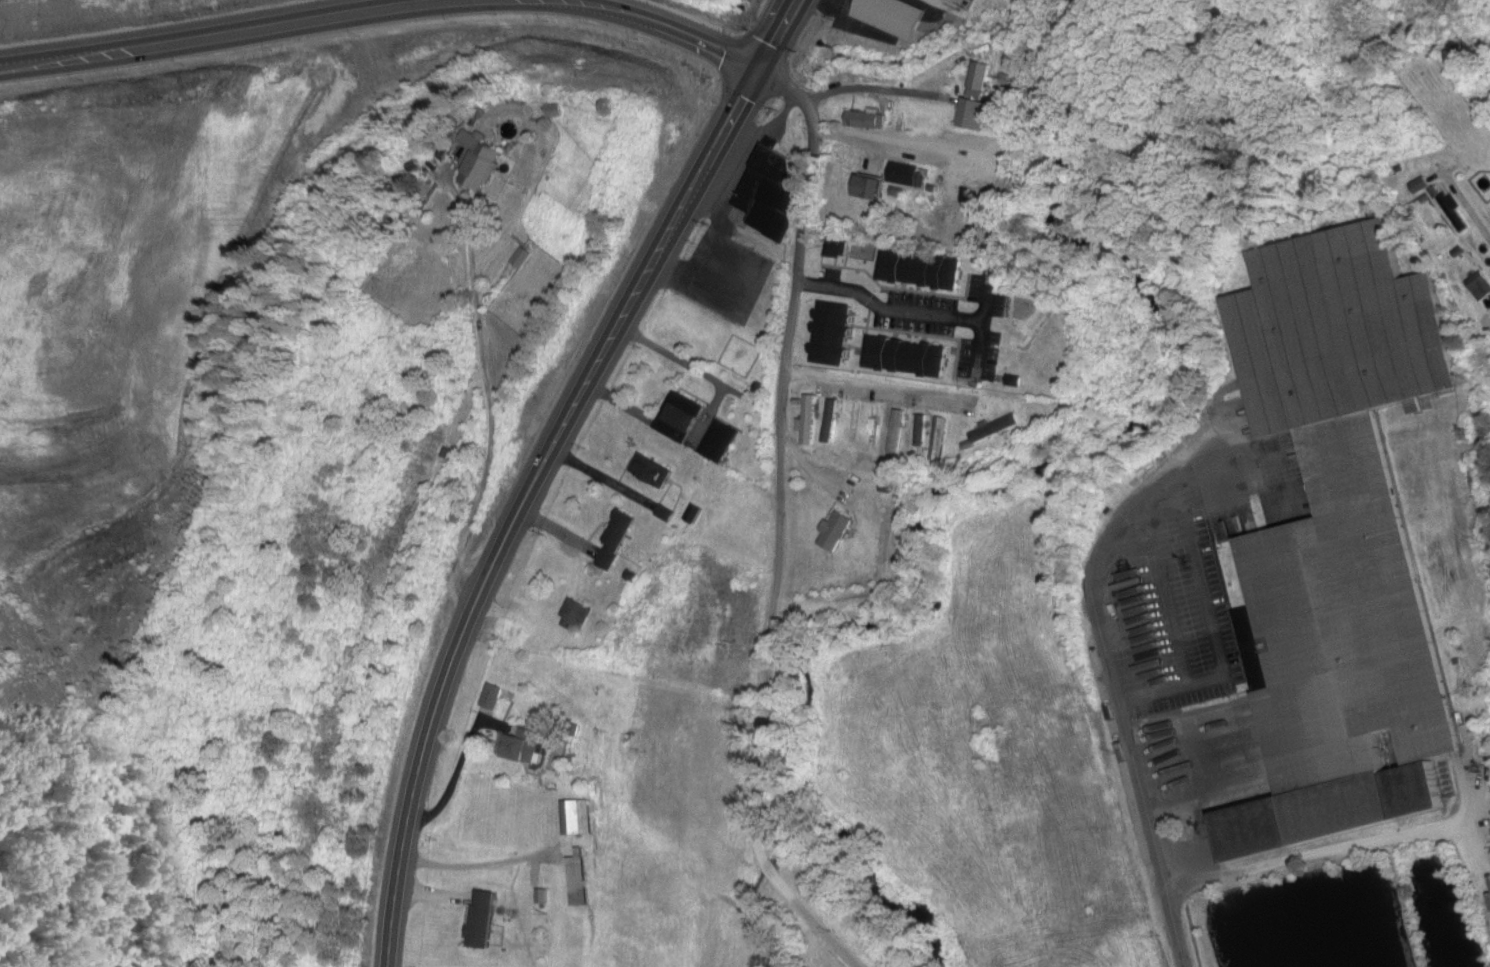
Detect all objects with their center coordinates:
building: (891, 16)
road: (685, 29)
road: (208, 33)
building: (972, 115)
building: (862, 119)
building: (480, 163)
building: (905, 175)
building: (869, 188)
building: (770, 193)
building: (1454, 213)
building: (834, 249)
building: (921, 270)
building: (834, 339)
building: (907, 358)
road: (905, 387)
building: (682, 413)
building: (830, 424)
building: (854, 425)
building: (720, 442)
road: (546, 463)
building: (653, 473)
road: (776, 526)
building: (835, 532)
building: (614, 541)
building: (1345, 541)
building: (574, 616)
road: (1121, 685)
building: (491, 698)
building: (520, 748)
building: (576, 817)
building: (579, 880)
building: (482, 920)

